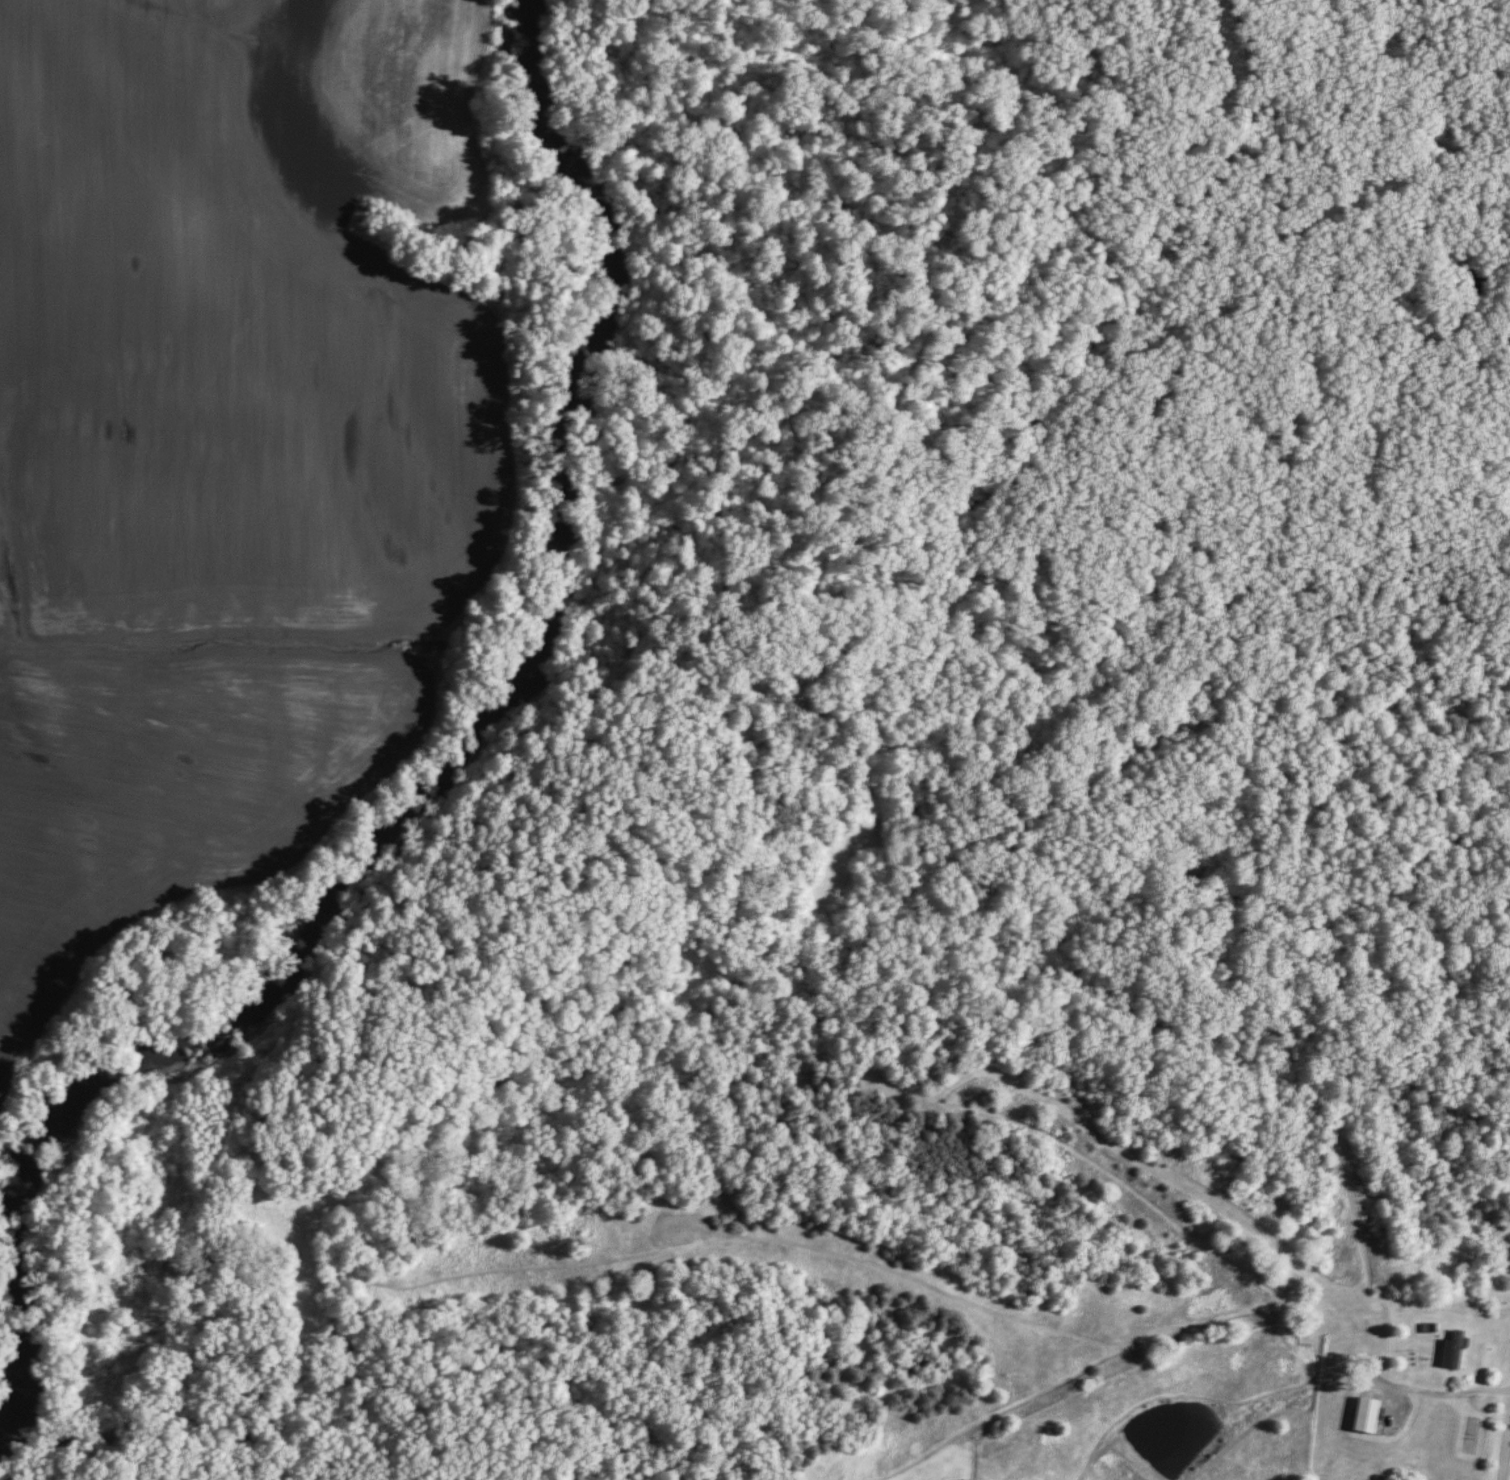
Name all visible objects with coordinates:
road: (1440, 1398)
building: (1357, 1415)
road: (1501, 1441)

